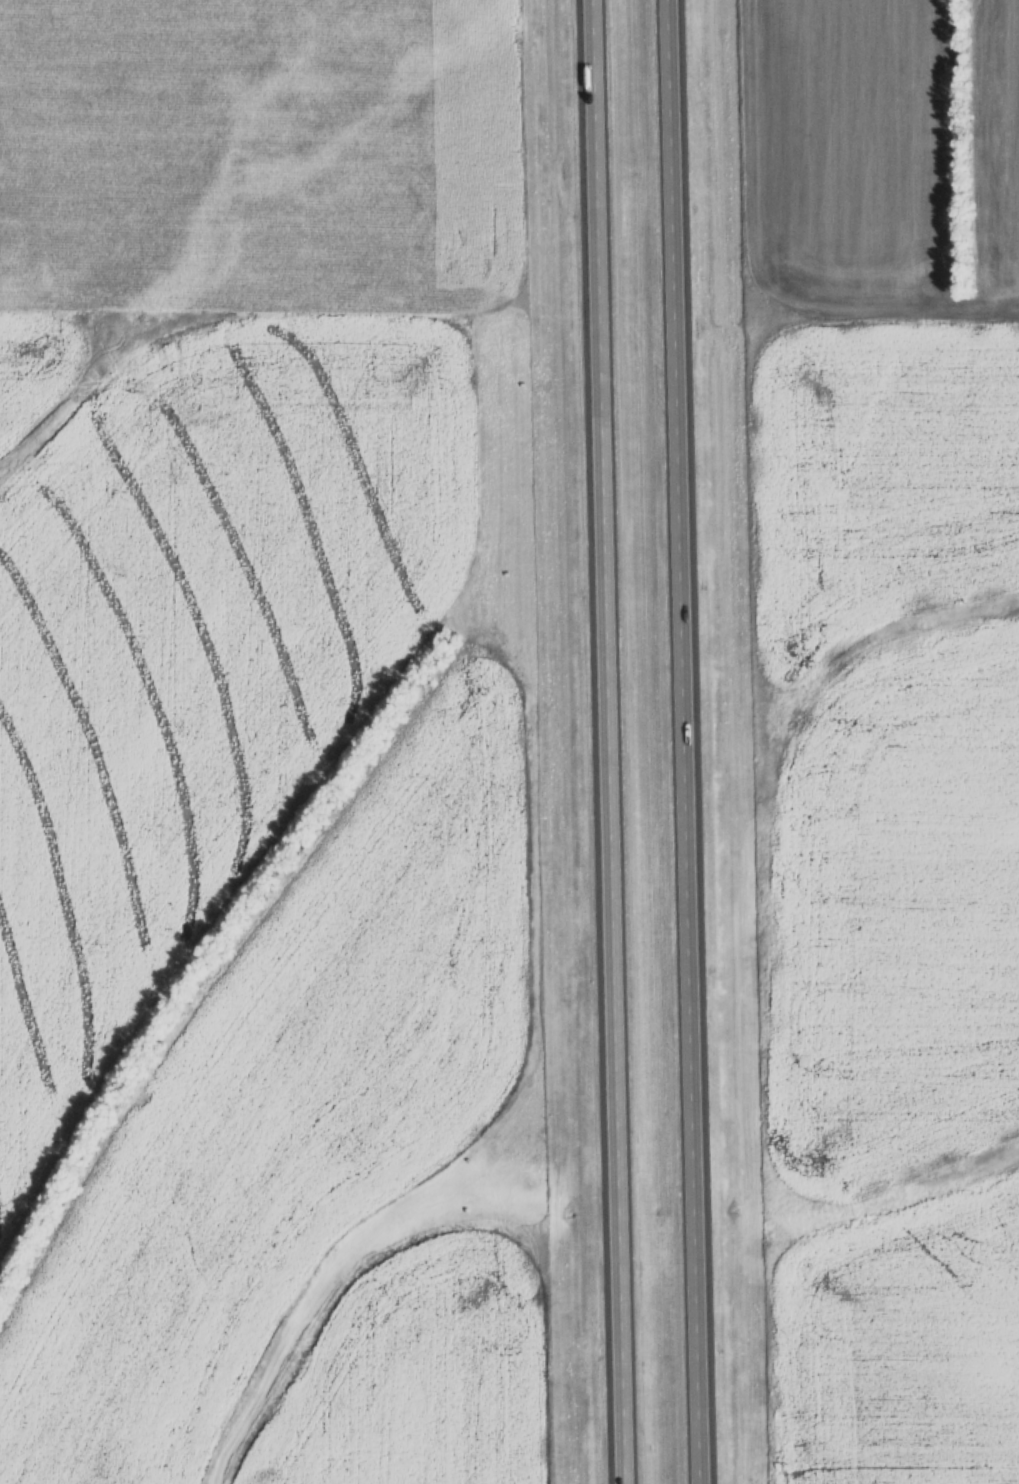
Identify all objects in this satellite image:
road: (611, 741)
road: (693, 741)

